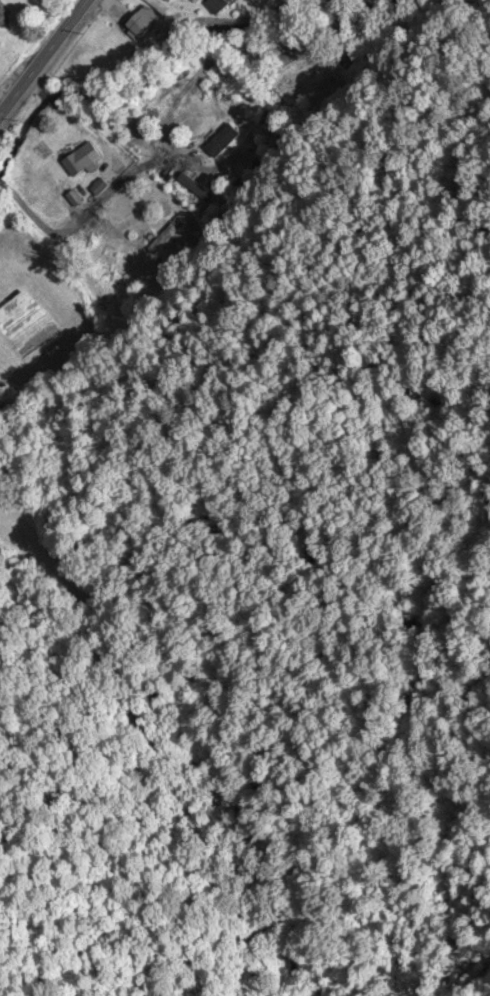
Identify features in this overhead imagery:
building: (232, 0)
building: (171, 2)
building: (4, 17)
building: (140, 28)
road: (45, 60)
building: (222, 142)
building: (78, 164)

